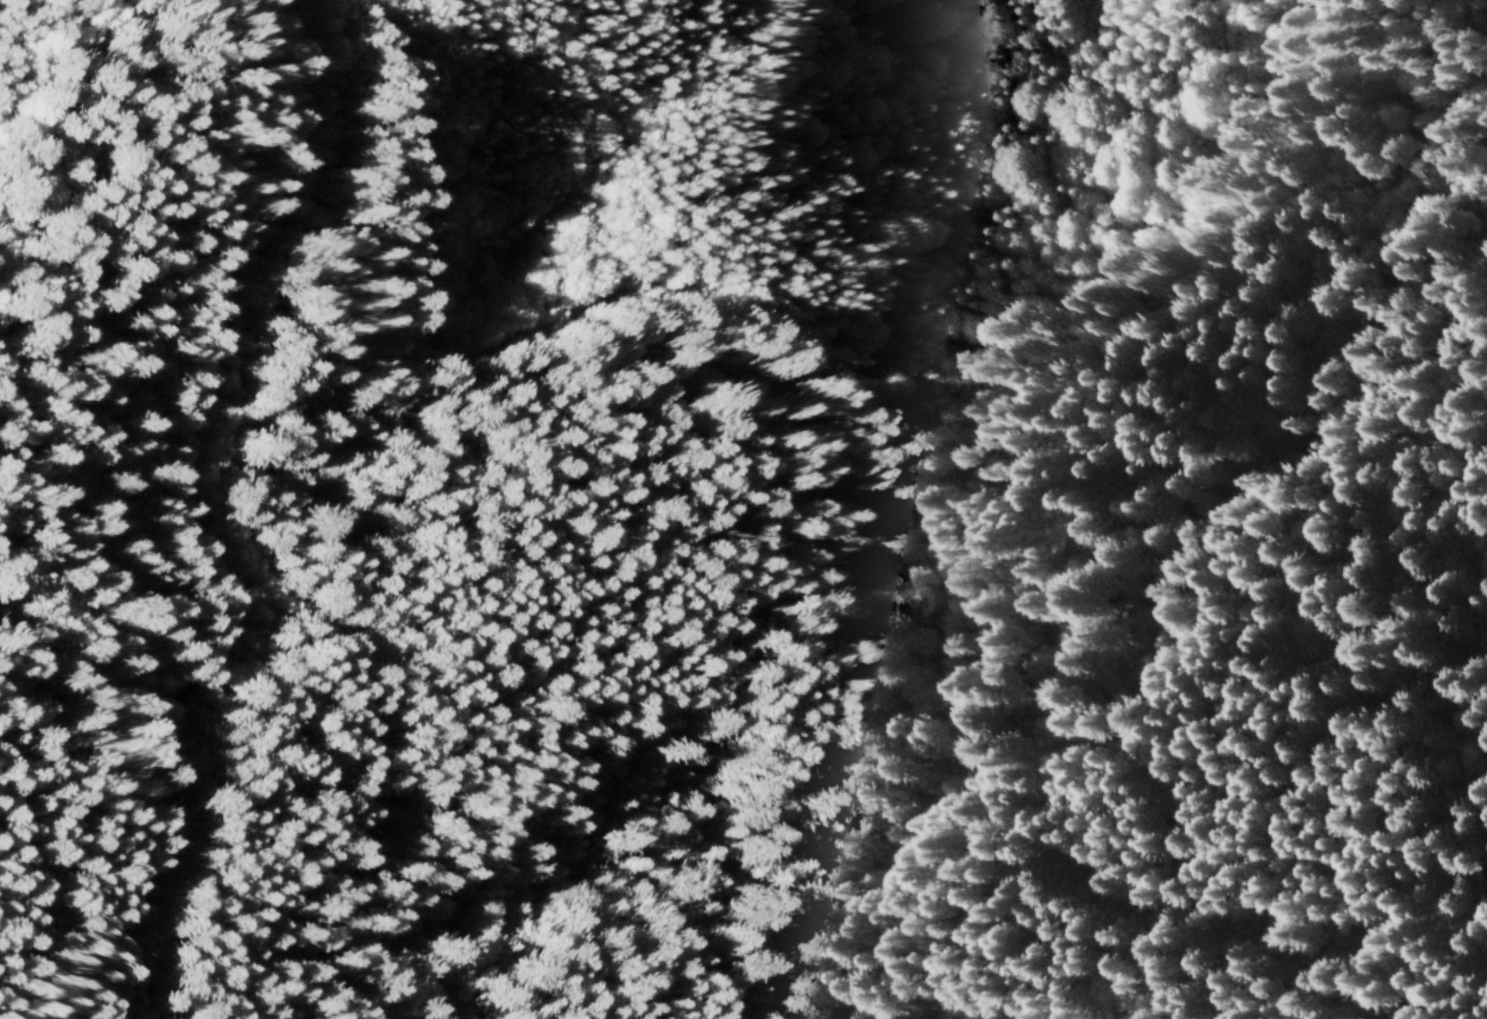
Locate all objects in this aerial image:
road: (201, 517)

